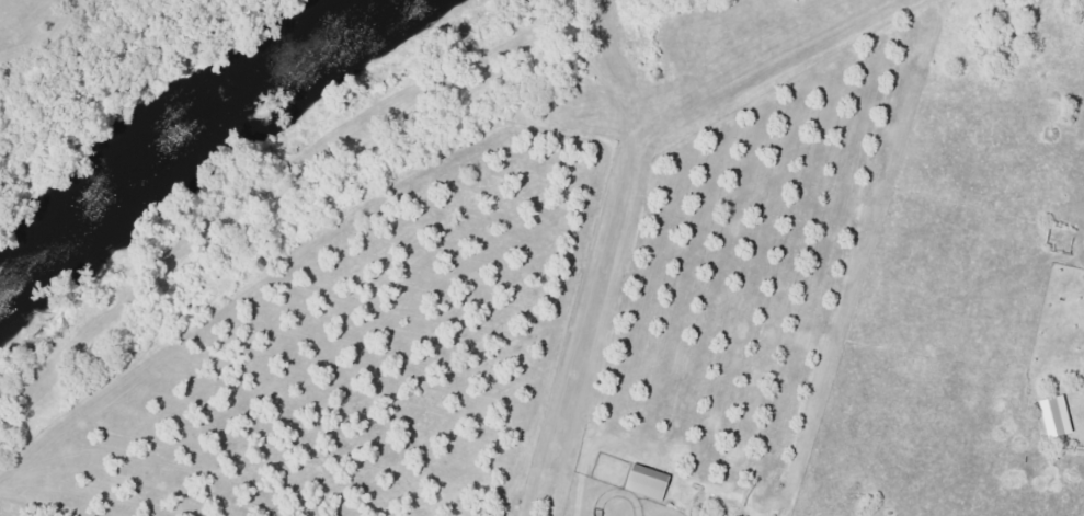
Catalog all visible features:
river: (186, 124)
road: (660, 177)
building: (1052, 415)
building: (644, 481)

